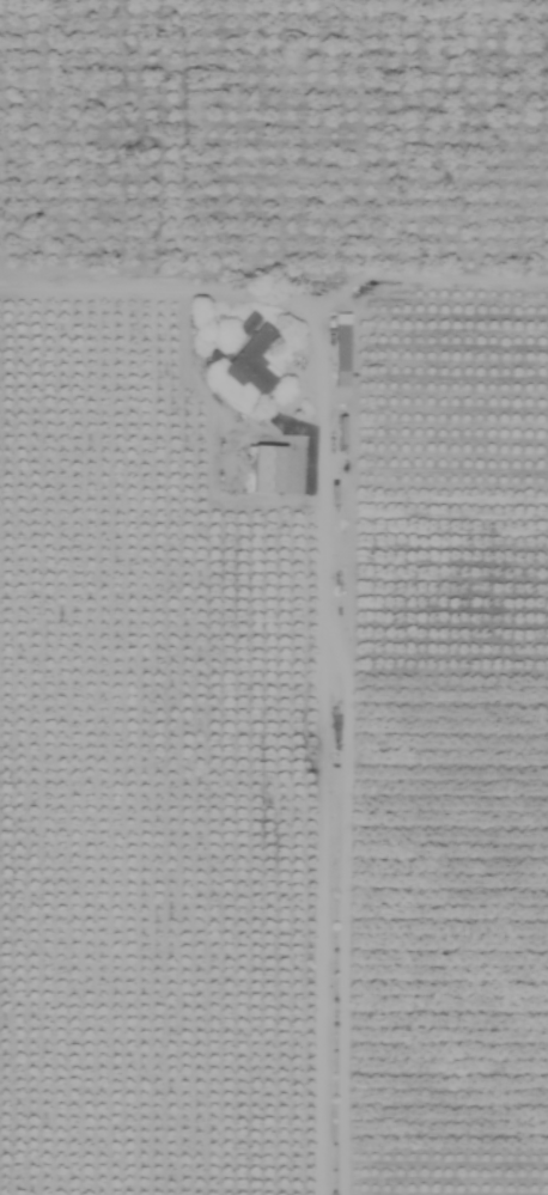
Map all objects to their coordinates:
building: (340, 349)
building: (251, 356)
building: (267, 469)
road: (331, 584)
crop: (274, 597)

